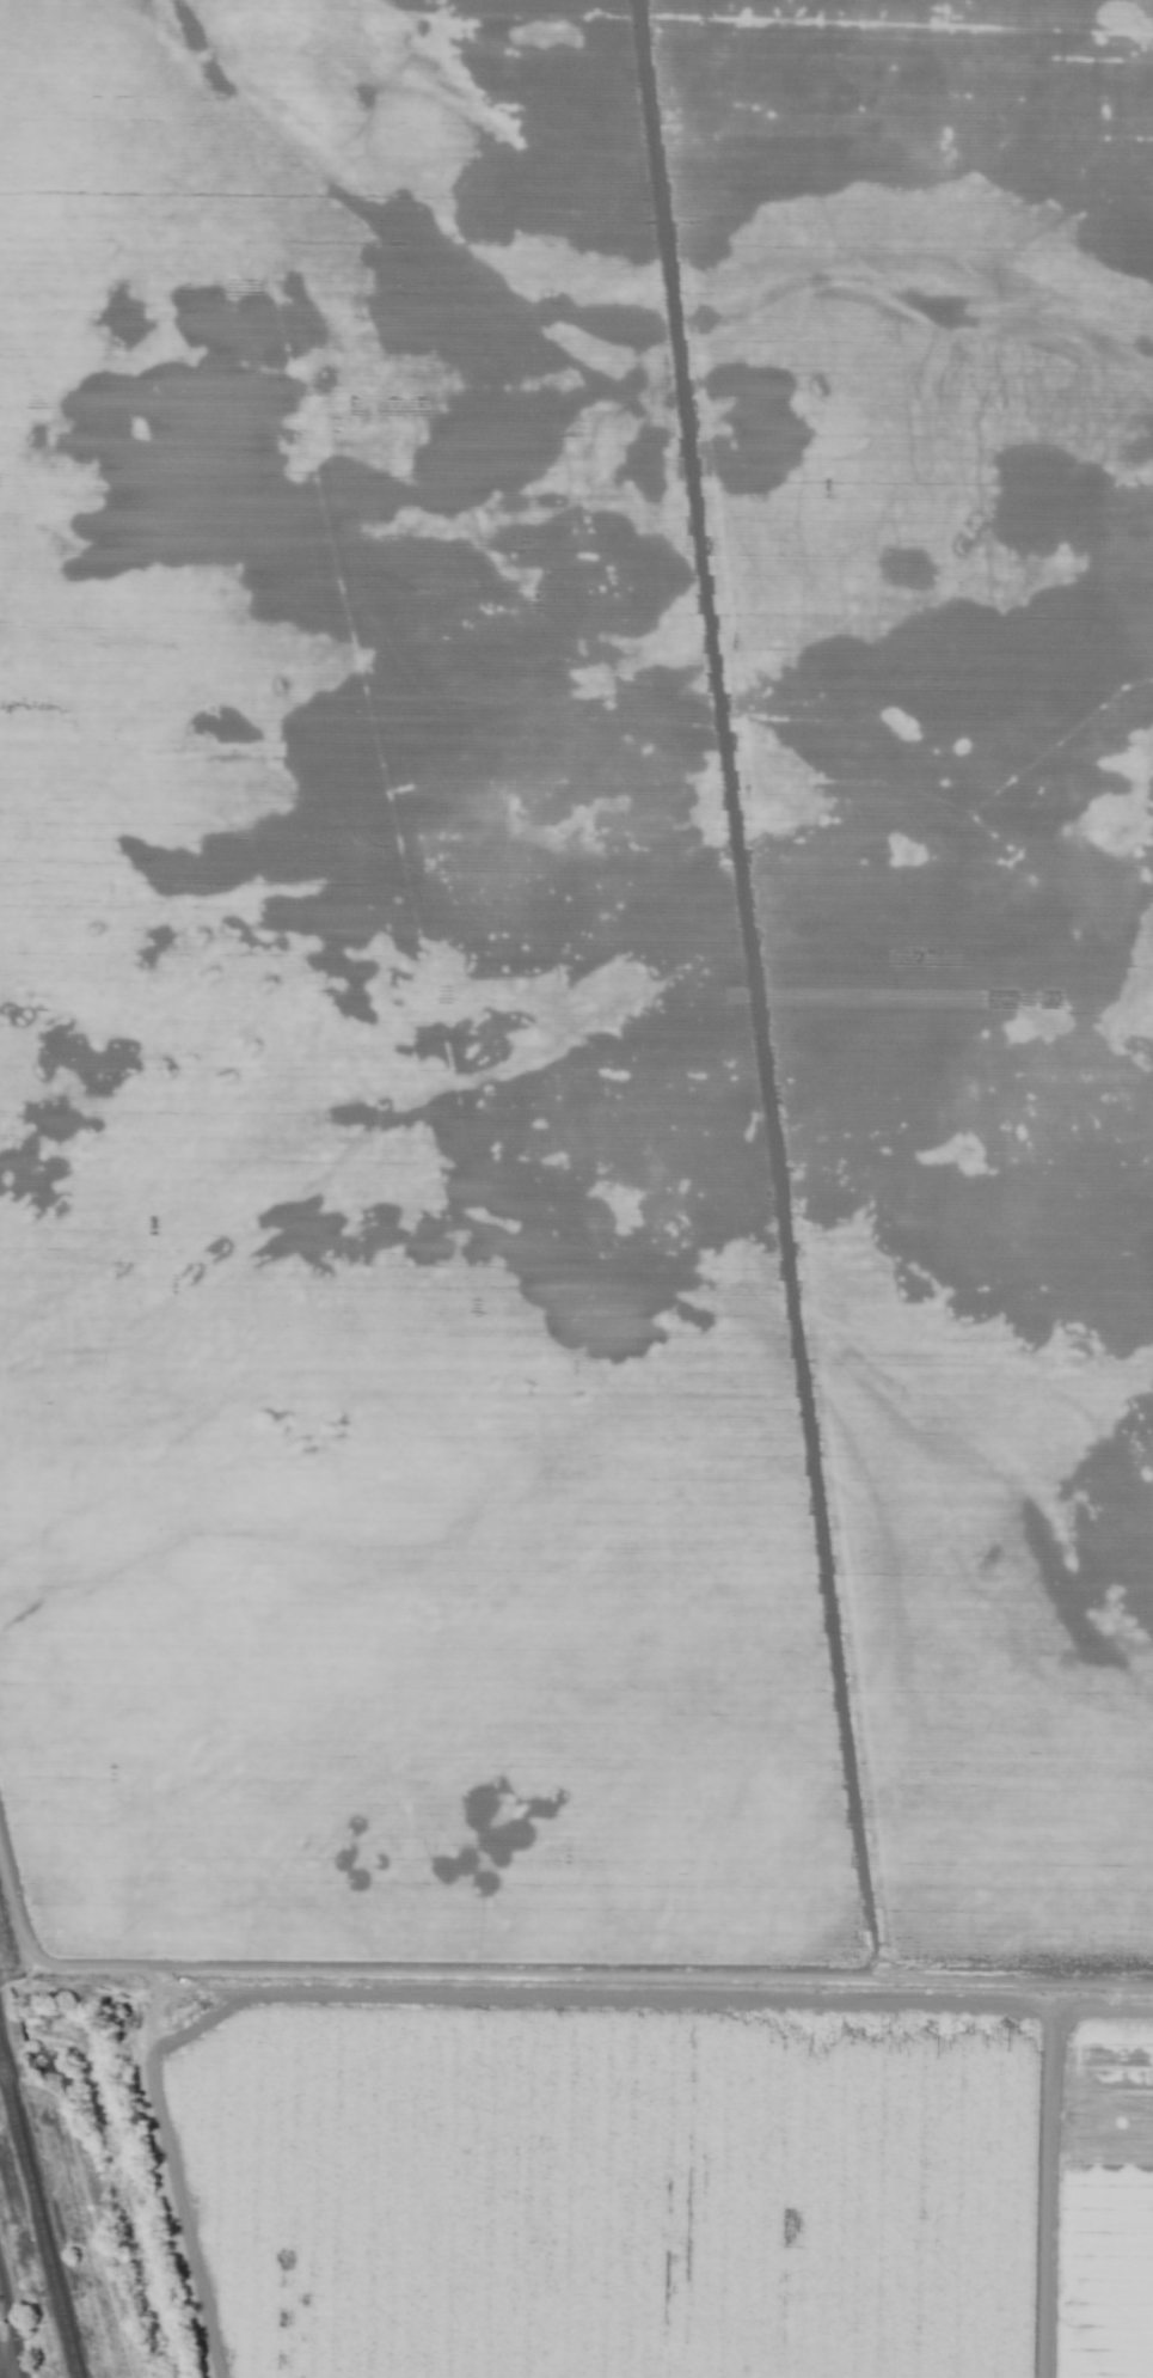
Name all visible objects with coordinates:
road: (538, 1977)
railway: (39, 2218)
road: (5, 2352)
road: (5, 2371)

